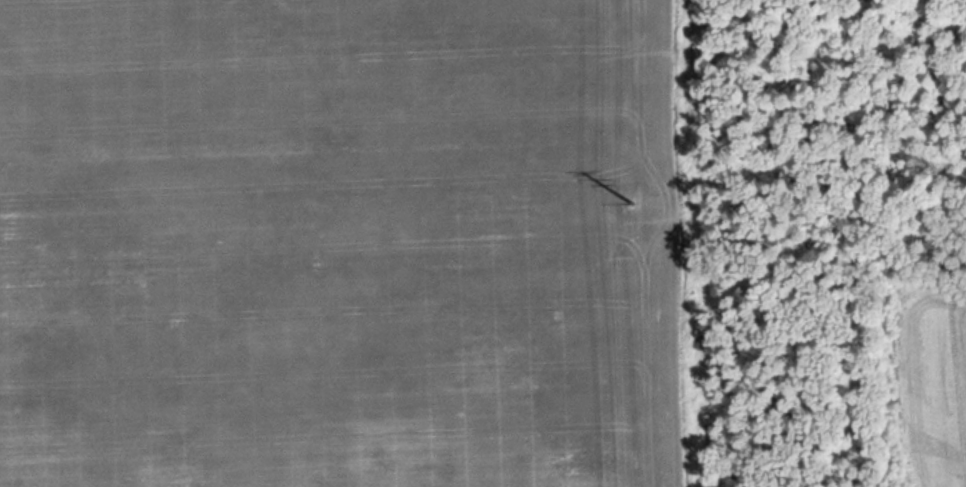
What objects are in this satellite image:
power tower: (631, 207)

